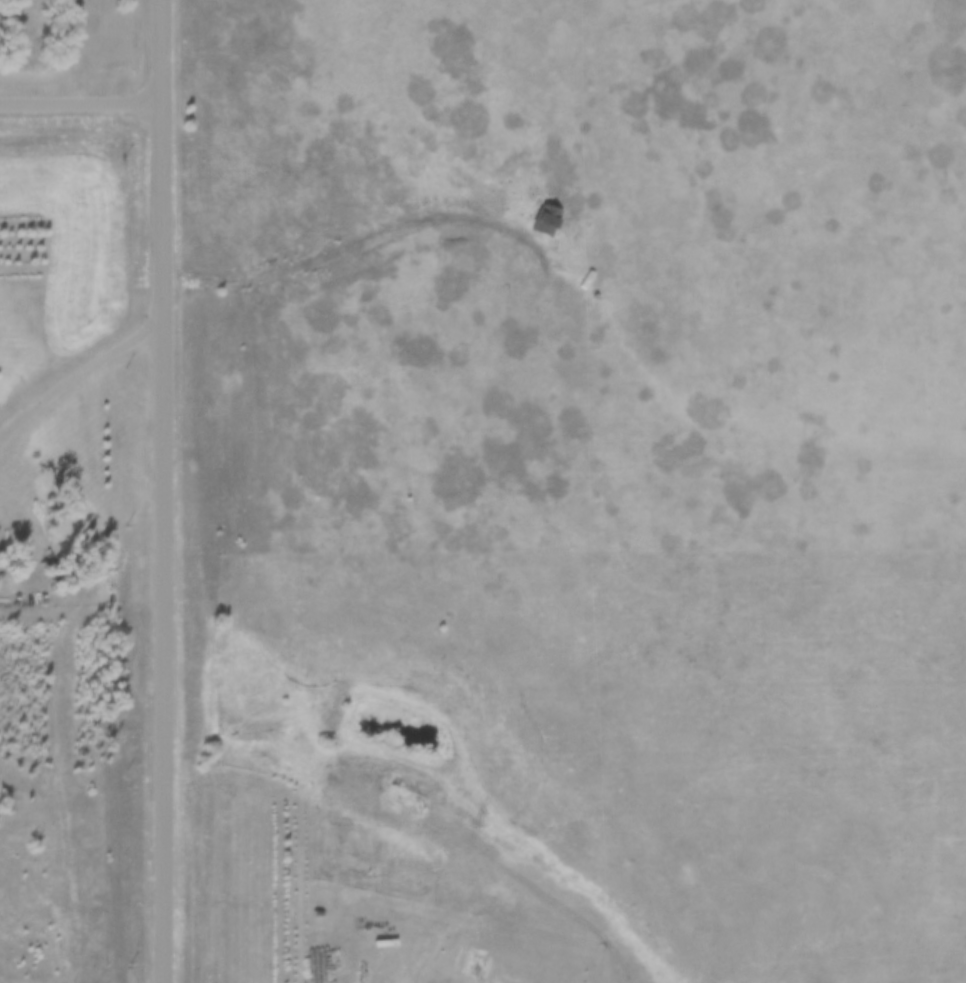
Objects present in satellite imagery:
road: (79, 100)
building: (544, 222)
road: (76, 366)
road: (160, 491)

